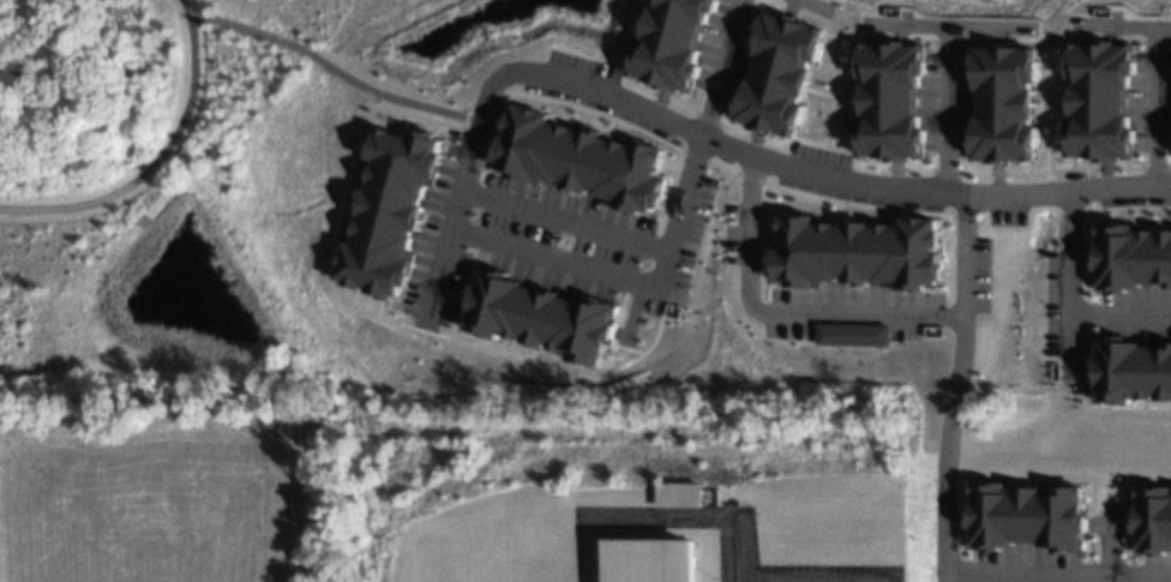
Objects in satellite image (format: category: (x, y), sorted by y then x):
road: (809, 1)
road: (764, 2)
road: (791, 6)
parking lot: (823, 8)
parking lot: (869, 23)
parking lot: (1077, 23)
road: (947, 24)
road: (1129, 24)
road: (639, 25)
parking lot: (1028, 26)
road: (899, 31)
road: (1107, 31)
road: (632, 32)
road: (997, 35)
road: (924, 37)
road: (948, 38)
road: (972, 38)
road: (1134, 38)
road: (1157, 38)
road: (1170, 40)
building: (669, 43)
road: (849, 47)
road: (1044, 52)
parking lot: (726, 53)
road: (609, 61)
parking lot: (581, 64)
road: (720, 67)
road: (331, 70)
building: (777, 73)
road: (834, 83)
road: (819, 91)
road: (541, 96)
road: (660, 96)
road: (374, 98)
building: (889, 100)
road: (1051, 100)
building: (1099, 100)
road: (657, 101)
parking lot: (945, 101)
parking lot: (1152, 102)
building: (1002, 103)
road: (845, 104)
road: (680, 106)
road: (1059, 106)
road: (1155, 106)
parking lot: (594, 107)
road: (945, 108)
road: (1041, 109)
park: (120, 110)
road: (705, 118)
road: (732, 128)
road: (475, 133)
road: (702, 136)
road: (755, 137)
road: (752, 143)
road: (825, 146)
parking lot: (818, 154)
road: (693, 155)
road: (154, 157)
building: (580, 160)
road: (721, 167)
road: (1125, 167)
road: (1154, 167)
road: (1169, 167)
road: (893, 168)
road: (917, 168)
road: (1103, 168)
road: (1050, 169)
road: (944, 170)
road: (894, 173)
road: (972, 173)
road: (995, 173)
road: (1089, 173)
road: (1104, 174)
road: (747, 176)
road: (996, 179)
road: (1088, 188)
parking lot: (854, 196)
road: (861, 204)
road: (1128, 206)
building: (388, 210)
parking lot: (1005, 216)
road: (1165, 217)
road: (563, 221)
road: (1151, 223)
road: (1170, 227)
road: (1087, 228)
road: (1092, 229)
parking lot: (728, 233)
parking lot: (544, 235)
building: (855, 252)
building: (1130, 257)
road: (469, 260)
road: (1080, 262)
road: (1086, 262)
parking lot: (978, 274)
road: (629, 282)
road: (1089, 283)
road: (451, 284)
road: (1068, 284)
road: (1085, 284)
road: (461, 288)
parking lot: (1050, 301)
parking lot: (848, 310)
road: (779, 312)
road: (1118, 312)
road: (1083, 313)
parking lot: (1136, 313)
building: (538, 316)
road: (380, 317)
road: (452, 317)
road: (627, 317)
road: (421, 326)
building: (848, 334)
road: (1083, 341)
road: (624, 348)
road: (606, 353)
road: (1076, 364)
road: (1083, 365)
building: (1129, 371)
road: (954, 388)
road: (1107, 408)
road: (1038, 478)
road: (1127, 481)
building: (680, 491)
park: (168, 492)
parking lot: (1107, 510)
building: (1023, 515)
road: (953, 520)
building: (1151, 520)
road: (1106, 523)
road: (961, 548)
road: (1086, 551)
road: (1106, 553)
road: (1127, 553)
building: (651, 560)
parking lot: (1022, 566)
parking lot: (1154, 568)
road: (961, 571)
road: (1086, 572)
road: (1127, 574)
road: (1056, 576)

